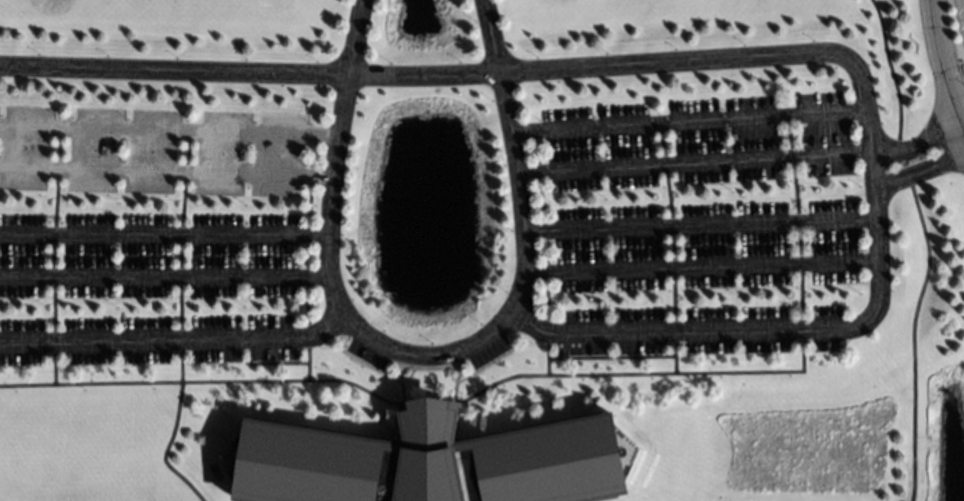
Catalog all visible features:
road: (962, 6)
road: (884, 60)
road: (175, 69)
road: (424, 73)
road: (940, 77)
road: (686, 120)
road: (170, 129)
road: (959, 131)
road: (911, 146)
road: (513, 156)
road: (338, 158)
road: (691, 162)
road: (168, 172)
road: (917, 178)
road: (870, 199)
road: (699, 227)
road: (165, 234)
road: (699, 265)
road: (165, 277)
road: (915, 309)
road: (174, 339)
road: (428, 356)
building: (430, 462)

